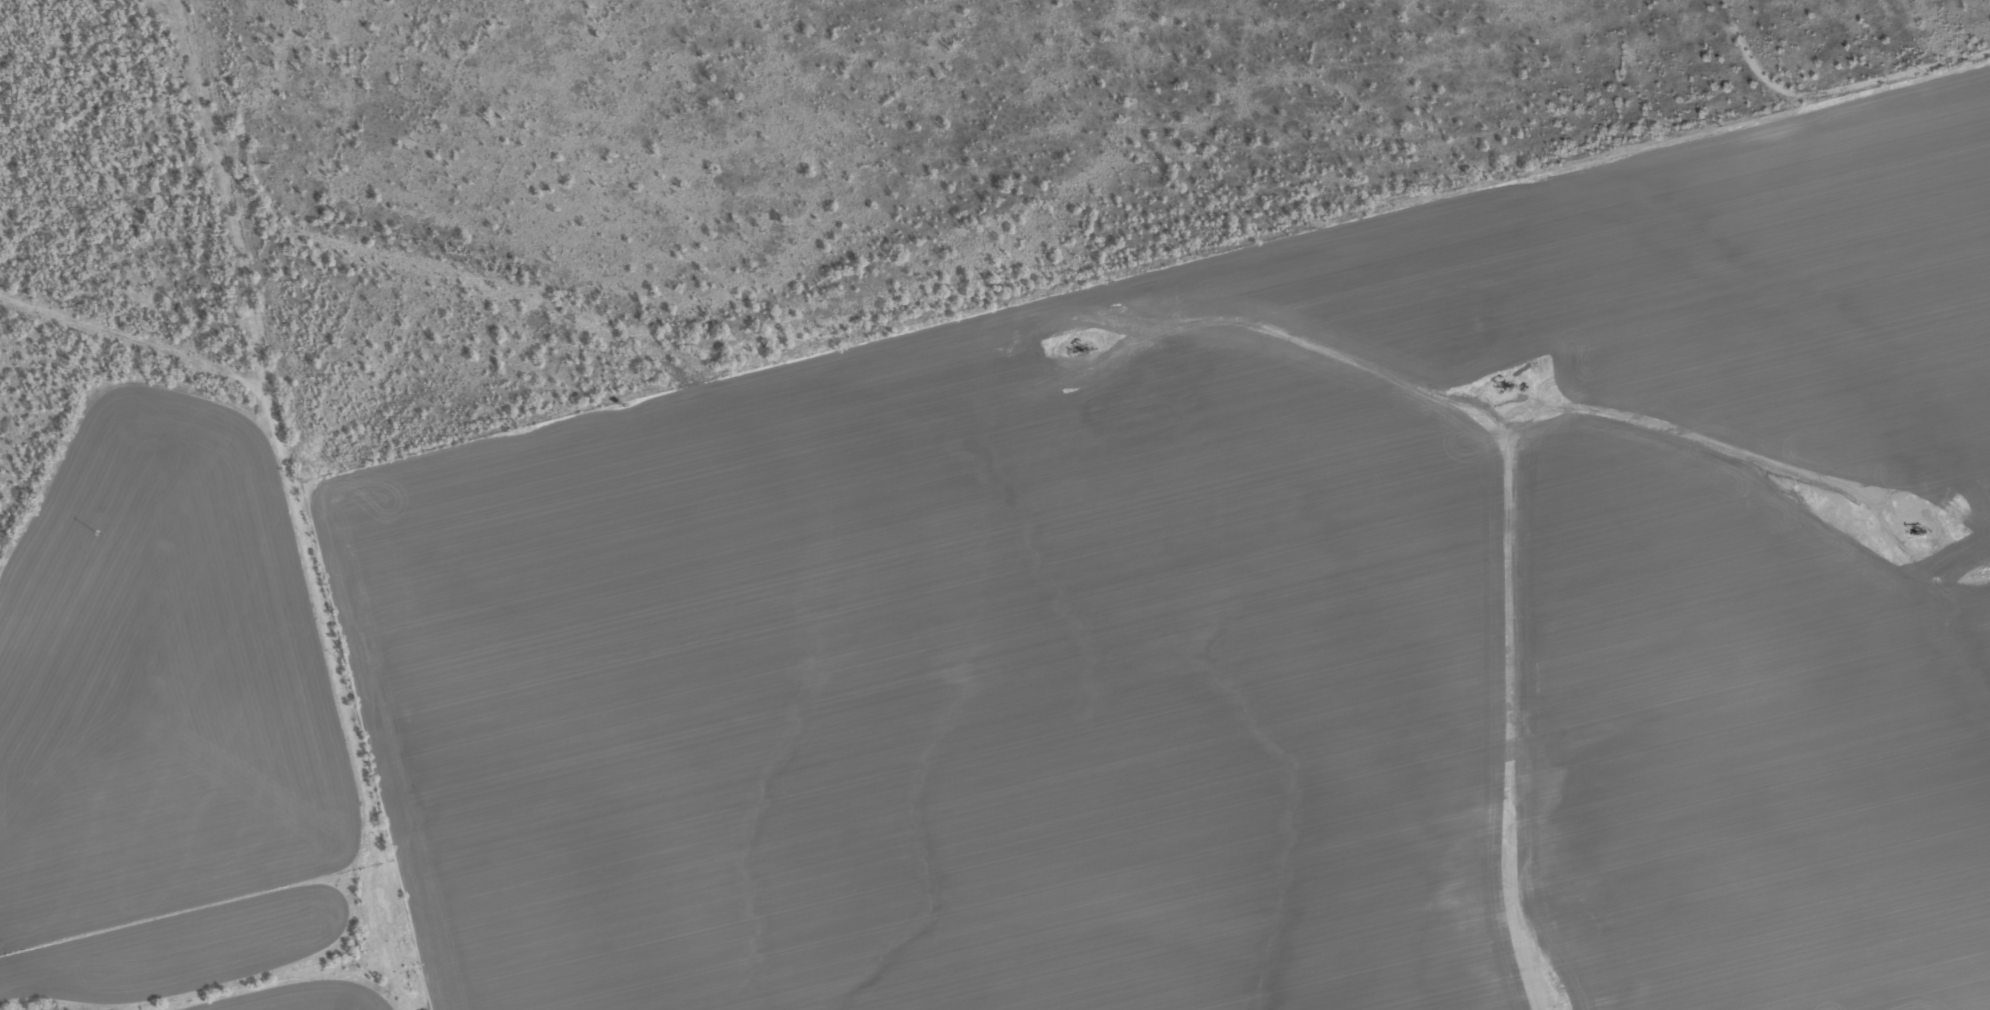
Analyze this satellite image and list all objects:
petroleum well: (1084, 351)
petroleum well: (1512, 389)
road: (1800, 471)
petroleum well: (1925, 530)
road: (339, 537)

